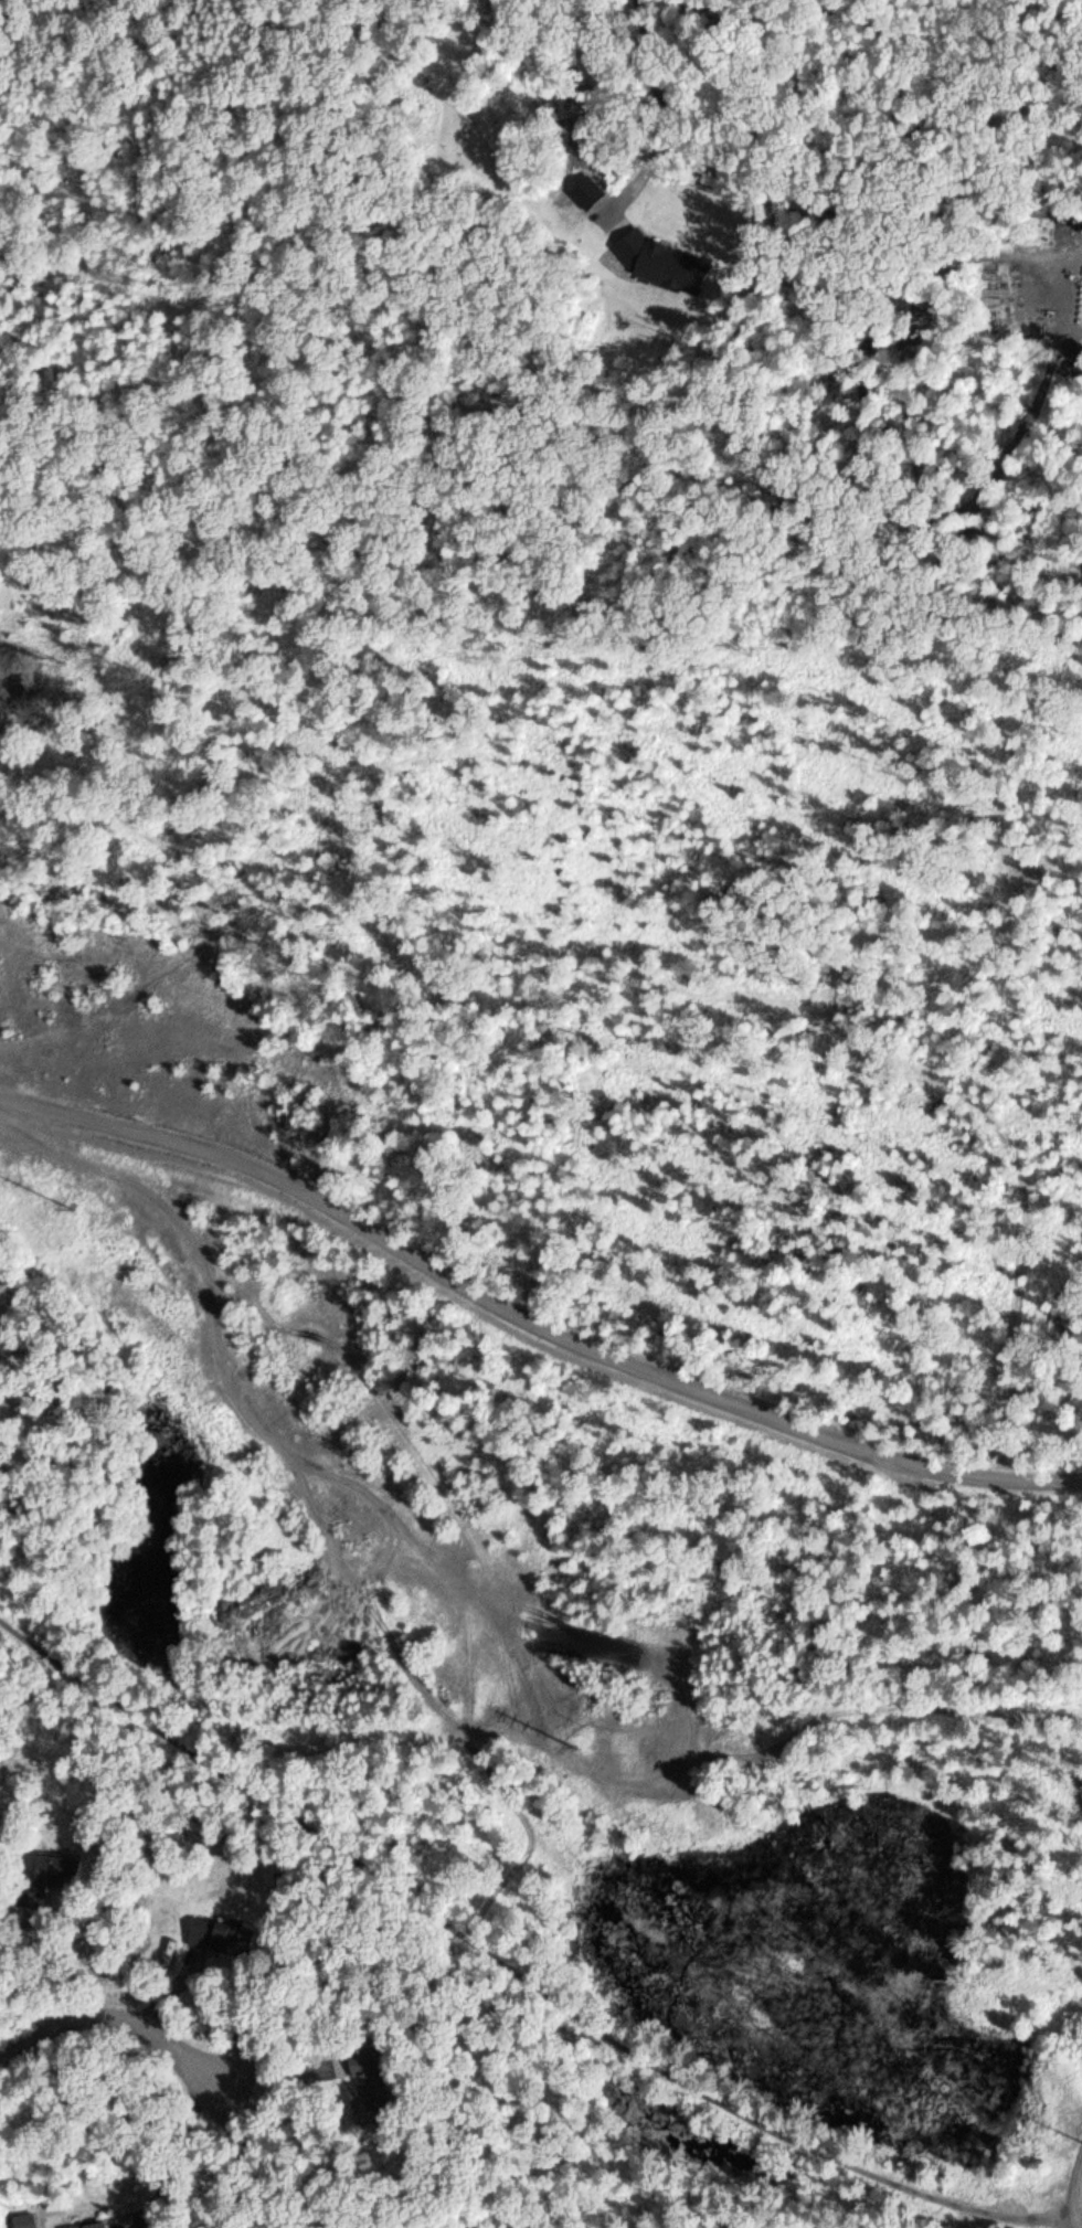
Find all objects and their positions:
power tower: (70, 1199)
road: (532, 1316)
road: (490, 1322)
power tower: (567, 1744)
building: (41, 1880)
building: (214, 1932)
road: (112, 2024)
building: (365, 2087)
building: (87, 2225)

